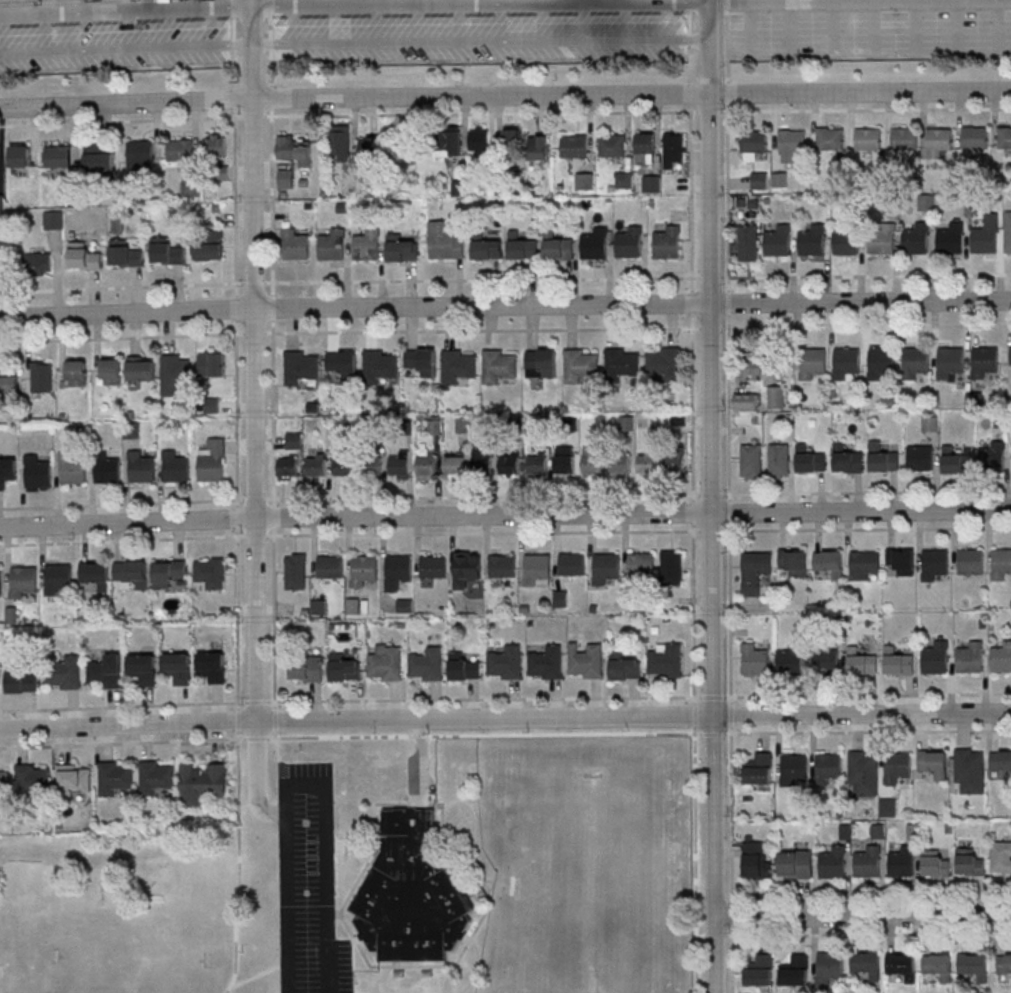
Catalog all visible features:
road: (566, 1)
road: (575, 1)
road: (586, 1)
road: (602, 1)
road: (613, 1)
road: (627, 1)
road: (397, 4)
road: (726, 5)
road: (270, 8)
parking lot: (870, 33)
parking lot: (480, 37)
road: (727, 46)
parking lot: (116, 47)
road: (270, 51)
road: (727, 93)
road: (505, 94)
road: (271, 98)
road: (865, 110)
road: (709, 112)
road: (481, 114)
road: (252, 117)
road: (120, 121)
building: (975, 137)
building: (830, 138)
building: (867, 138)
building: (904, 138)
building: (1004, 138)
building: (513, 141)
building: (938, 141)
building: (449, 142)
building: (479, 142)
building: (340, 143)
building: (753, 143)
building: (791, 144)
building: (216, 145)
building: (612, 146)
building: (573, 147)
building: (539, 148)
building: (645, 148)
building: (673, 148)
building: (295, 149)
building: (181, 150)
building: (371, 150)
building: (19, 156)
building: (58, 156)
building: (141, 156)
building: (99, 158)
building: (285, 178)
building: (624, 180)
building: (759, 180)
building: (780, 180)
building: (585, 182)
building: (651, 184)
road: (728, 197)
road: (691, 201)
road: (271, 202)
road: (235, 206)
building: (54, 219)
building: (1008, 233)
building: (986, 235)
building: (444, 240)
building: (812, 240)
building: (881, 240)
building: (916, 240)
building: (778, 241)
building: (845, 241)
building: (949, 241)
building: (629, 242)
building: (748, 242)
building: (667, 243)
building: (295, 244)
building: (366, 244)
building: (595, 244)
building: (332, 245)
building: (210, 247)
building: (486, 247)
building: (522, 247)
building: (401, 248)
building: (559, 249)
building: (166, 251)
building: (124, 253)
building: (84, 256)
building: (0, 260)
building: (37, 262)
road: (865, 274)
road: (710, 277)
road: (481, 279)
road: (254, 283)
road: (122, 288)
road: (728, 302)
road: (691, 303)
road: (505, 304)
road: (272, 307)
road: (236, 309)
road: (866, 326)
road: (710, 328)
road: (482, 330)
road: (254, 334)
road: (121, 339)
building: (1010, 356)
road: (255, 360)
building: (421, 361)
building: (915, 362)
building: (541, 363)
building: (755, 363)
building: (811, 363)
building: (880, 363)
building: (984, 363)
building: (211, 364)
building: (342, 364)
building: (664, 364)
building: (846, 364)
building: (950, 364)
building: (458, 365)
building: (499, 365)
building: (581, 365)
building: (622, 365)
building: (177, 366)
building: (301, 366)
building: (379, 367)
building: (140, 368)
building: (111, 371)
building: (75, 372)
building: (39, 376)
building: (9, 378)
building: (775, 397)
building: (746, 400)
building: (211, 405)
road: (728, 407)
road: (691, 408)
road: (272, 412)
road: (236, 413)
building: (930, 423)
building: (294, 440)
building: (993, 457)
building: (482, 458)
building: (882, 458)
building: (920, 458)
building: (779, 459)
building: (847, 459)
building: (212, 460)
building: (564, 460)
building: (591, 460)
building: (751, 460)
building: (809, 460)
building: (674, 462)
building: (955, 462)
building: (619, 463)
building: (647, 463)
building: (399, 464)
building: (454, 465)
building: (508, 465)
building: (537, 465)
building: (288, 466)
building: (316, 466)
building: (344, 466)
building: (372, 466)
building: (426, 466)
building: (175, 467)
building: (107, 468)
building: (141, 468)
building: (73, 470)
building: (7, 471)
building: (38, 471)
road: (867, 492)
road: (711, 495)
road: (712, 496)
road: (483, 497)
road: (255, 500)
road: (121, 504)
road: (729, 512)
road: (692, 513)
road: (505, 514)
road: (273, 517)
road: (237, 518)
road: (866, 529)
road: (711, 531)
road: (483, 533)
road: (255, 536)
road: (121, 540)
building: (901, 560)
building: (970, 561)
building: (794, 562)
building: (828, 562)
building: (572, 563)
building: (641, 563)
building: (864, 564)
building: (935, 564)
building: (1001, 564)
building: (503, 565)
building: (330, 566)
building: (433, 566)
building: (605, 567)
building: (671, 567)
building: (467, 568)
building: (364, 569)
building: (537, 569)
building: (130, 571)
building: (296, 571)
building: (397, 571)
building: (754, 571)
building: (211, 572)
building: (167, 573)
building: (95, 574)
building: (57, 577)
building: (0, 580)
building: (22, 581)
building: (561, 598)
road: (693, 614)
road: (730, 614)
road: (274, 618)
road: (238, 619)
building: (970, 657)
building: (1001, 657)
building: (935, 658)
building: (790, 659)
building: (586, 660)
building: (666, 660)
building: (754, 660)
building: (826, 660)
building: (859, 661)
building: (386, 662)
building: (505, 662)
building: (545, 663)
building: (899, 664)
building: (212, 666)
building: (426, 666)
building: (464, 666)
building: (624, 666)
building: (178, 667)
building: (343, 667)
building: (143, 668)
building: (306, 668)
building: (106, 672)
building: (65, 673)
building: (21, 678)
road: (867, 695)
road: (712, 697)
road: (484, 699)
road: (256, 702)
road: (122, 706)
road: (730, 714)
road: (694, 715)
road: (275, 718)
road: (505, 719)
road: (238, 720)
road: (867, 732)
road: (712, 734)
road: (484, 736)
road: (256, 738)
road: (121, 742)
road: (275, 746)
building: (1001, 760)
road: (424, 761)
building: (934, 762)
building: (897, 767)
building: (828, 768)
building: (758, 769)
building: (793, 769)
building: (970, 770)
building: (863, 772)
parking lot: (413, 775)
building: (117, 776)
building: (157, 777)
road: (257, 777)
building: (4, 778)
building: (33, 778)
building: (75, 778)
building: (201, 783)
road: (306, 785)
road: (433, 804)
building: (888, 807)
road: (730, 816)
road: (473, 822)
road: (353, 848)
building: (755, 858)
building: (1001, 858)
road: (694, 859)
building: (868, 860)
building: (832, 861)
building: (902, 862)
road: (238, 863)
building: (970, 863)
building: (795, 864)
building: (935, 864)
parking lot: (308, 883)
park: (594, 885)
building: (410, 893)
road: (871, 897)
park: (128, 910)
road: (334, 913)
road: (862, 915)
road: (731, 917)
road: (868, 933)
road: (699, 936)
road: (714, 936)
road: (347, 942)
road: (732, 961)
road: (476, 963)
building: (866, 964)
building: (901, 964)
building: (938, 965)
building: (973, 965)
road: (391, 967)
building: (829, 968)
building: (759, 970)
building: (795, 971)
road: (258, 973)
road: (380, 979)

